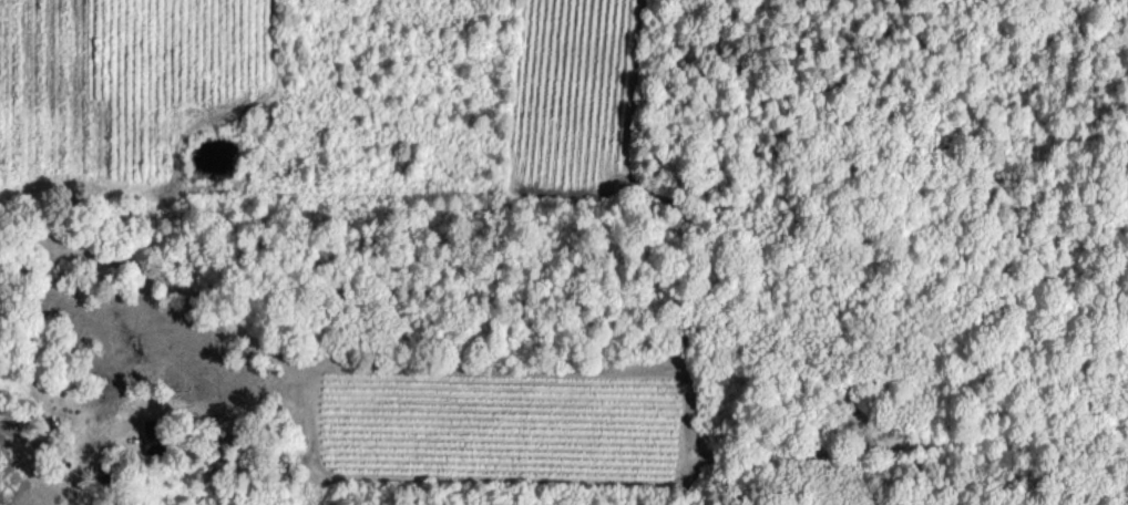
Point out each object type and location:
road: (22, 435)

